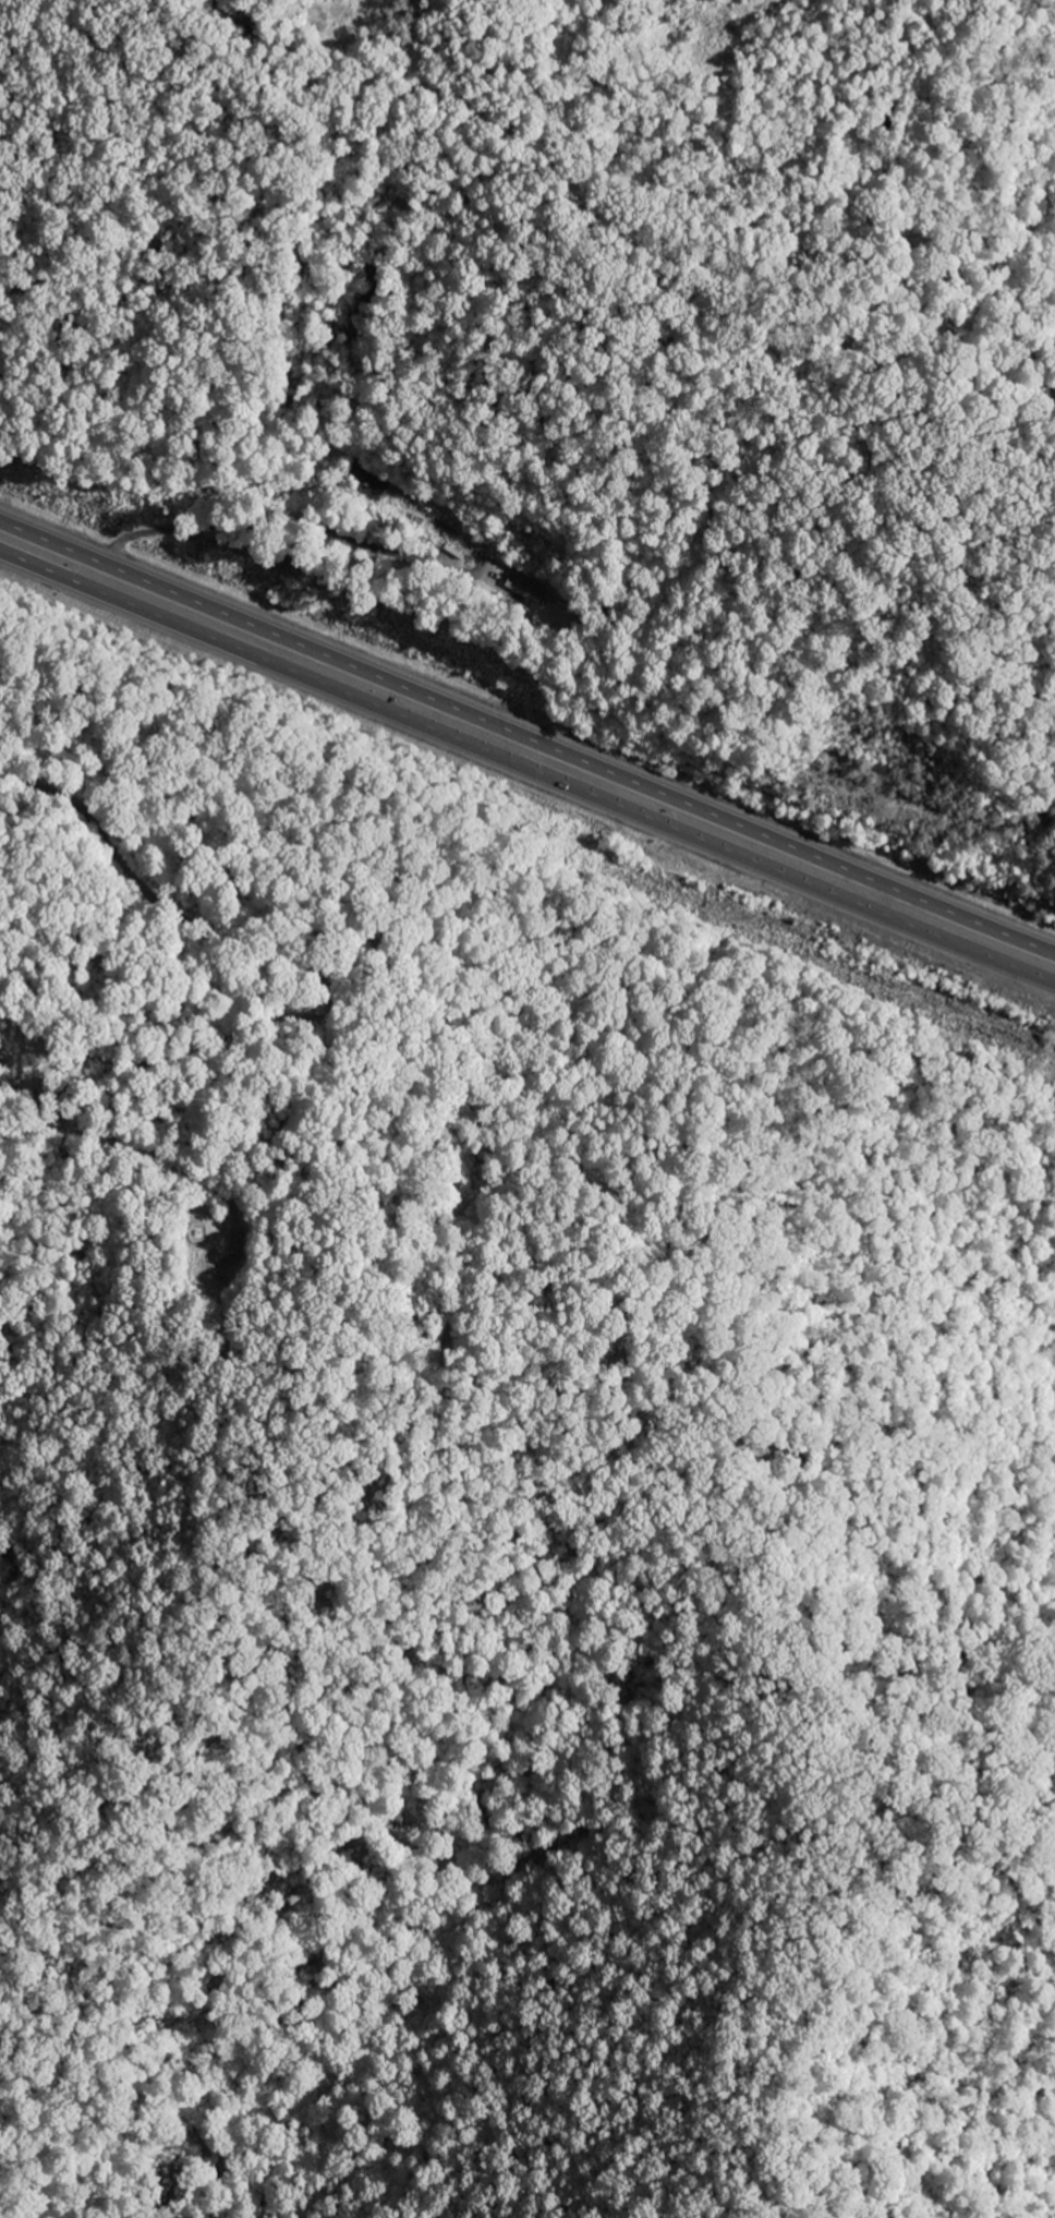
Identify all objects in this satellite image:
road: (526, 737)
road: (526, 770)

